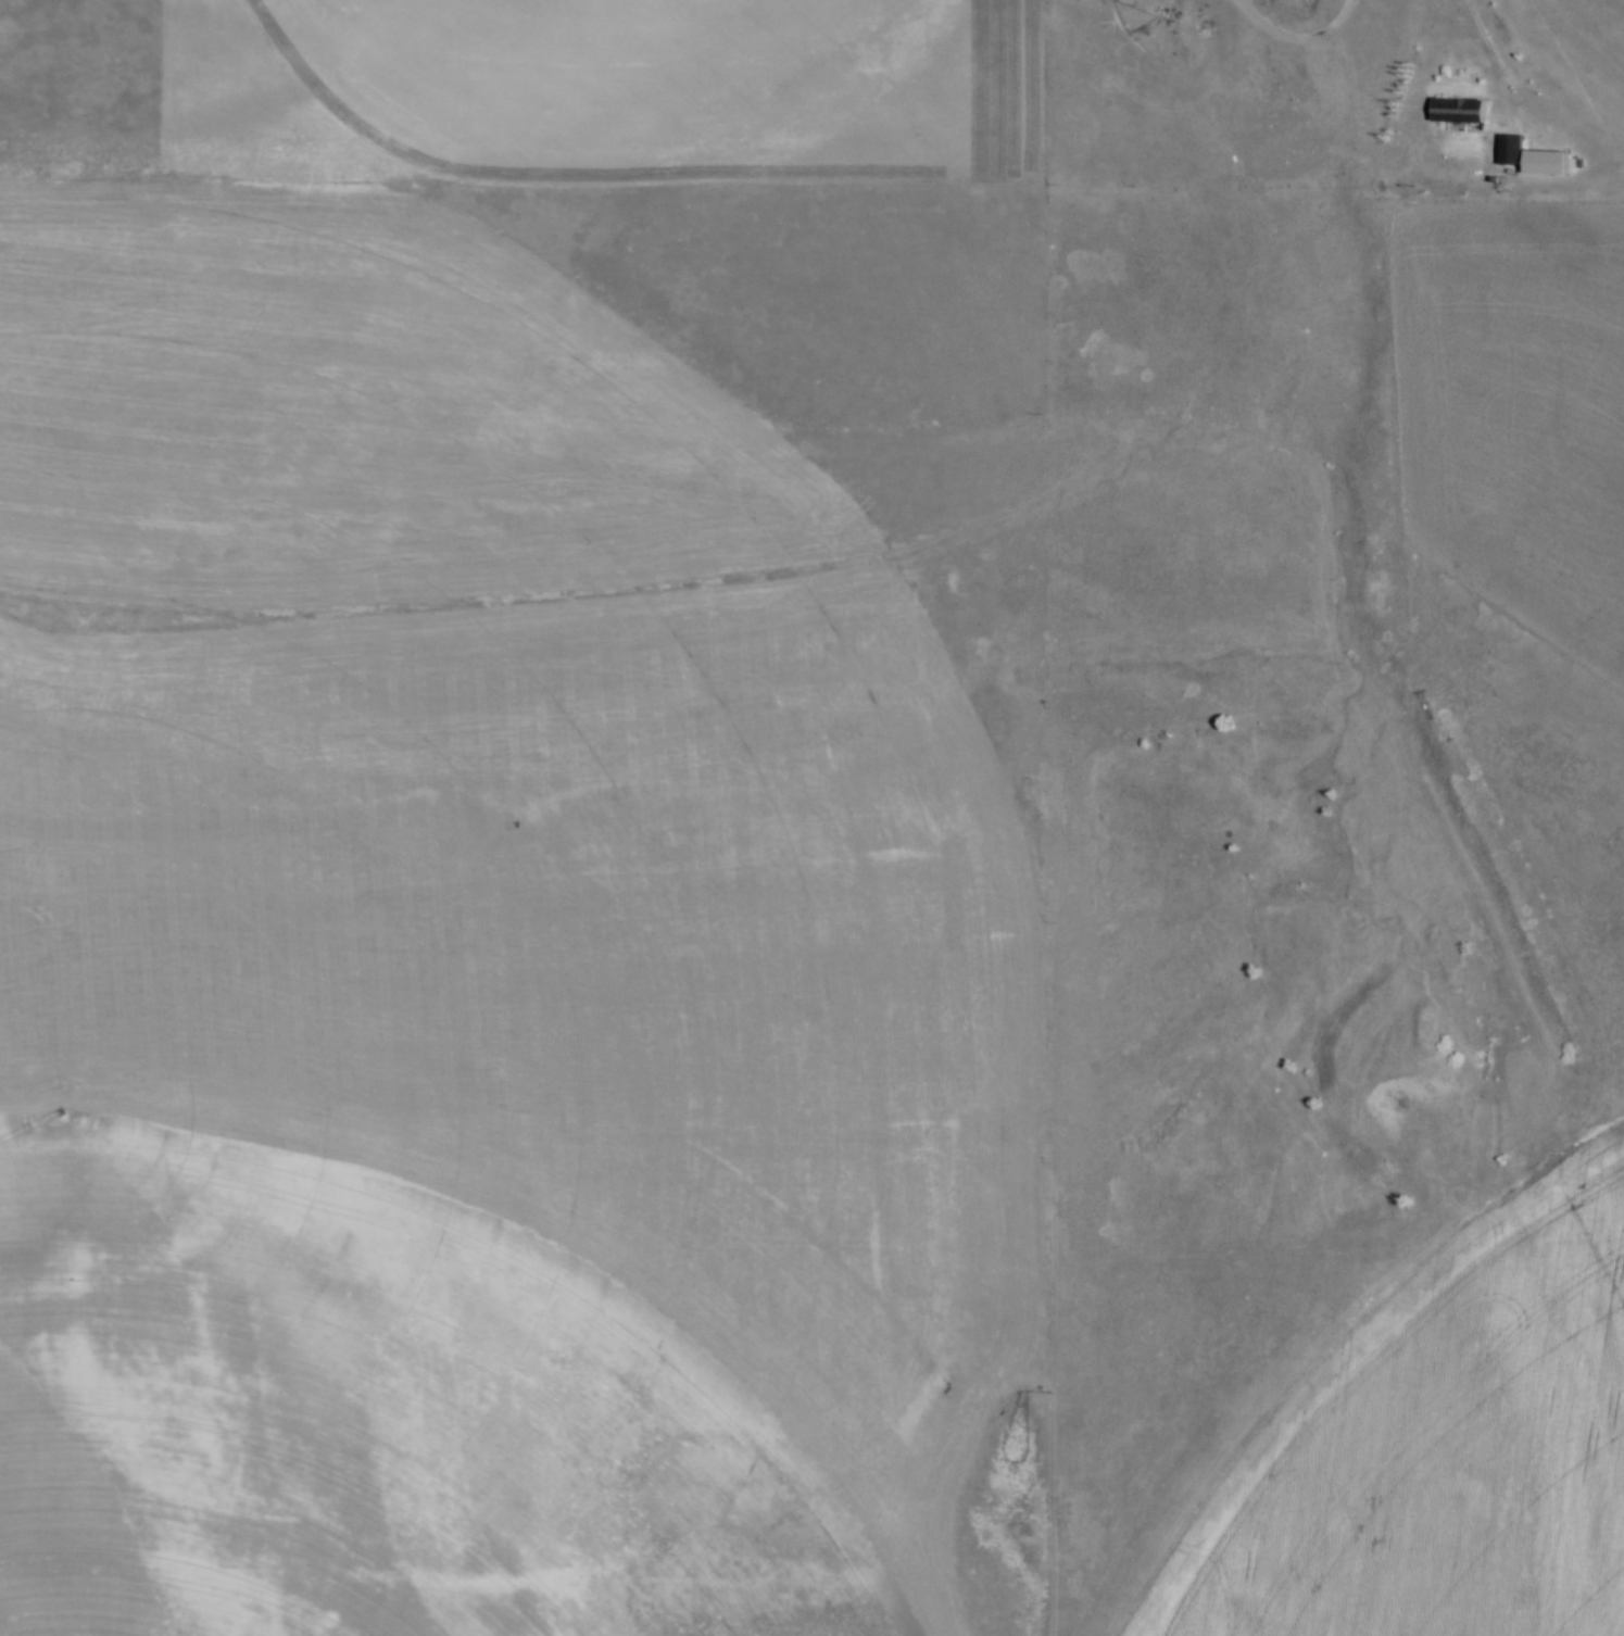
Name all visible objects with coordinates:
road: (1483, 60)
crop: (597, 79)
building: (1453, 110)
building: (1507, 152)
crop: (1569, 911)
crop: (450, 955)

